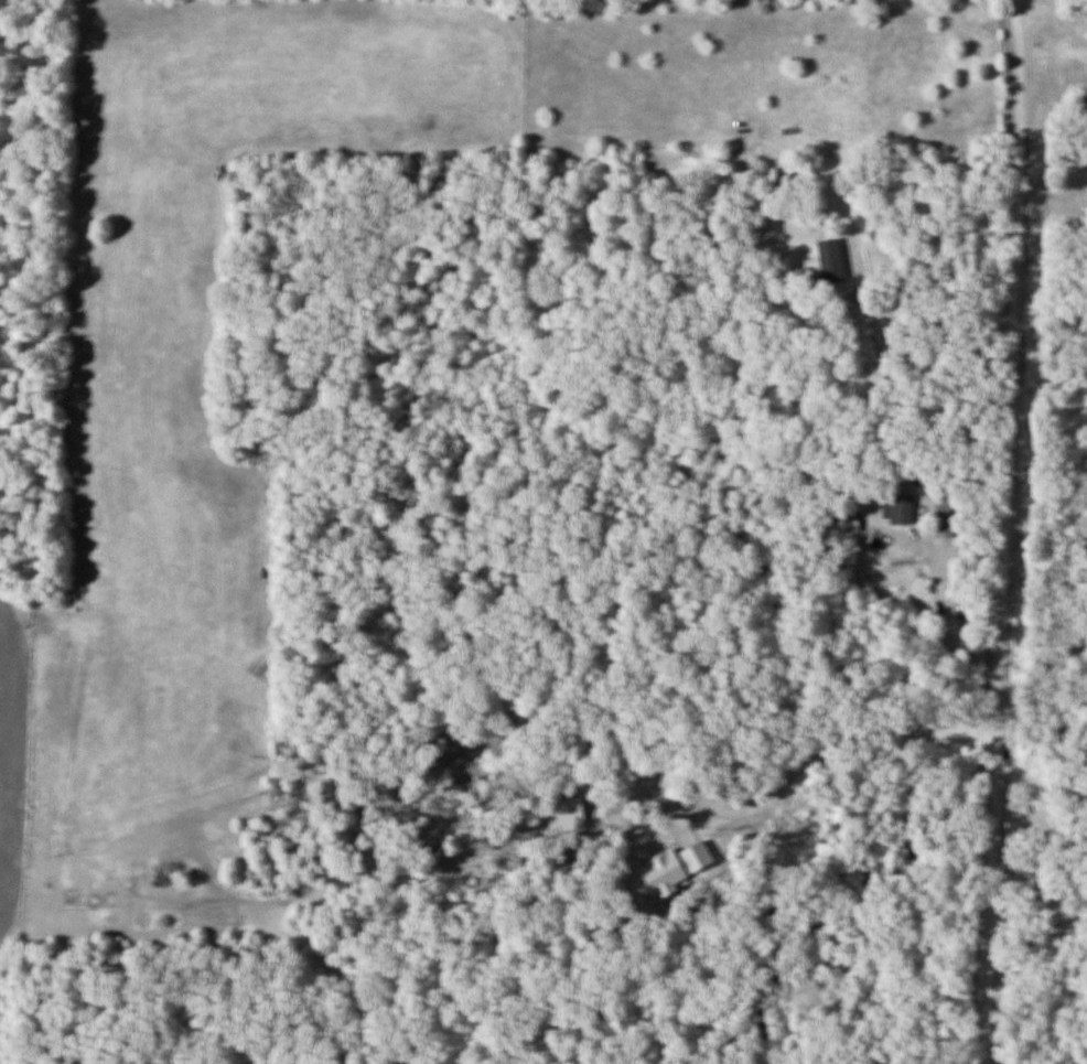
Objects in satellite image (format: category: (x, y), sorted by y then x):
building: (758, 178)
building: (831, 259)
building: (861, 372)
building: (904, 508)
building: (851, 524)
road: (994, 531)
road: (937, 610)
road: (822, 751)

